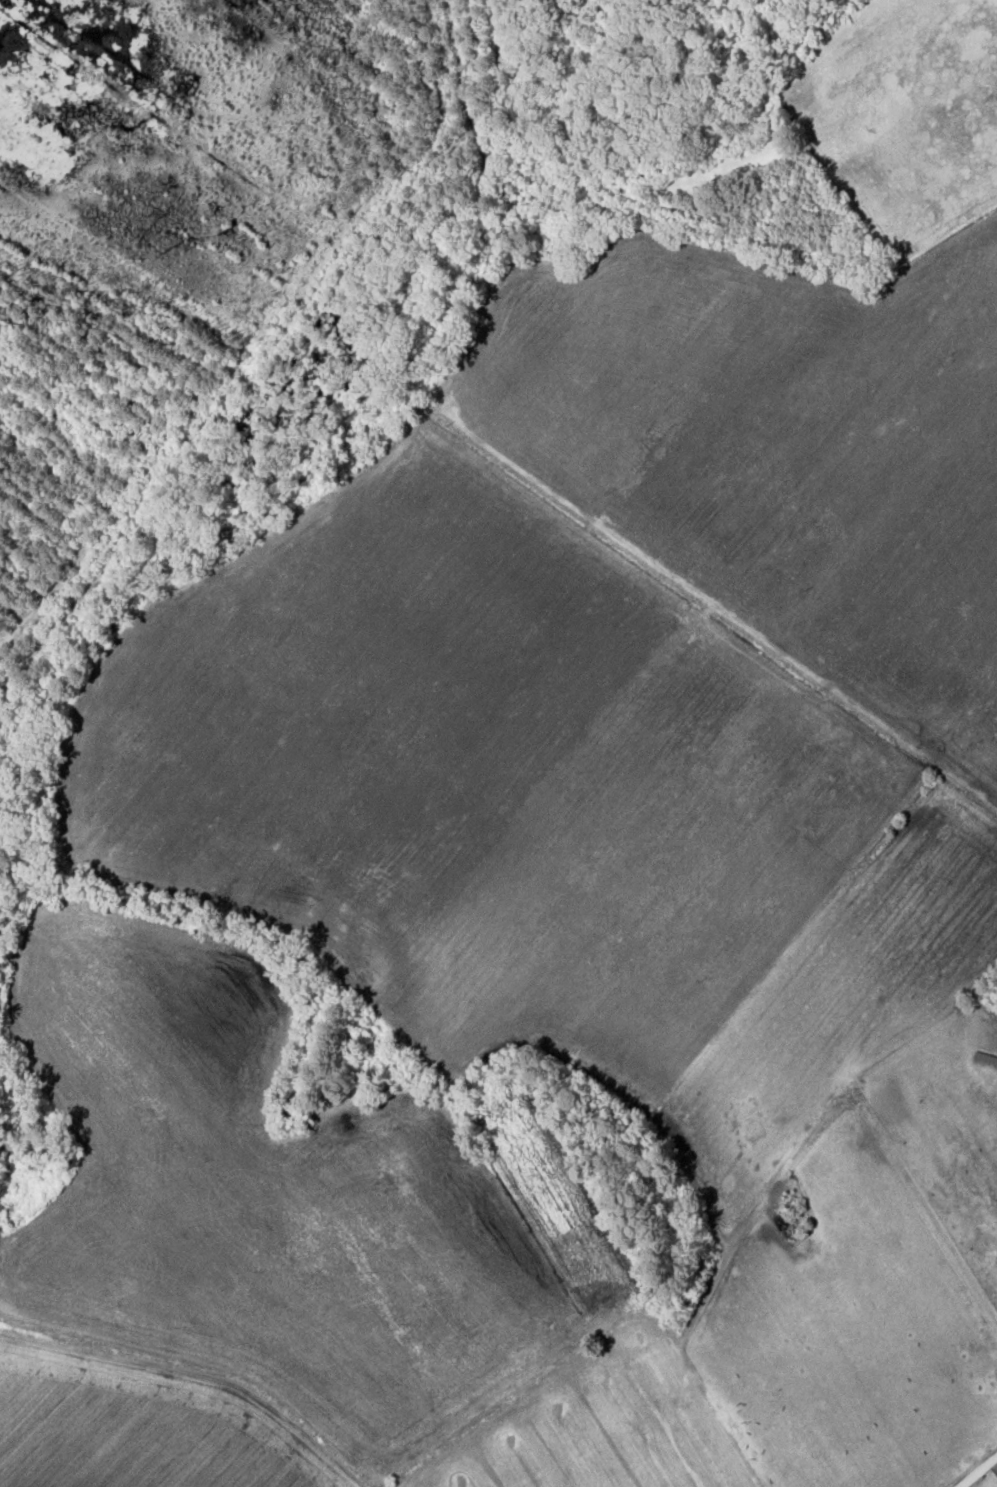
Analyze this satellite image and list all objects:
building: (787, 1203)

